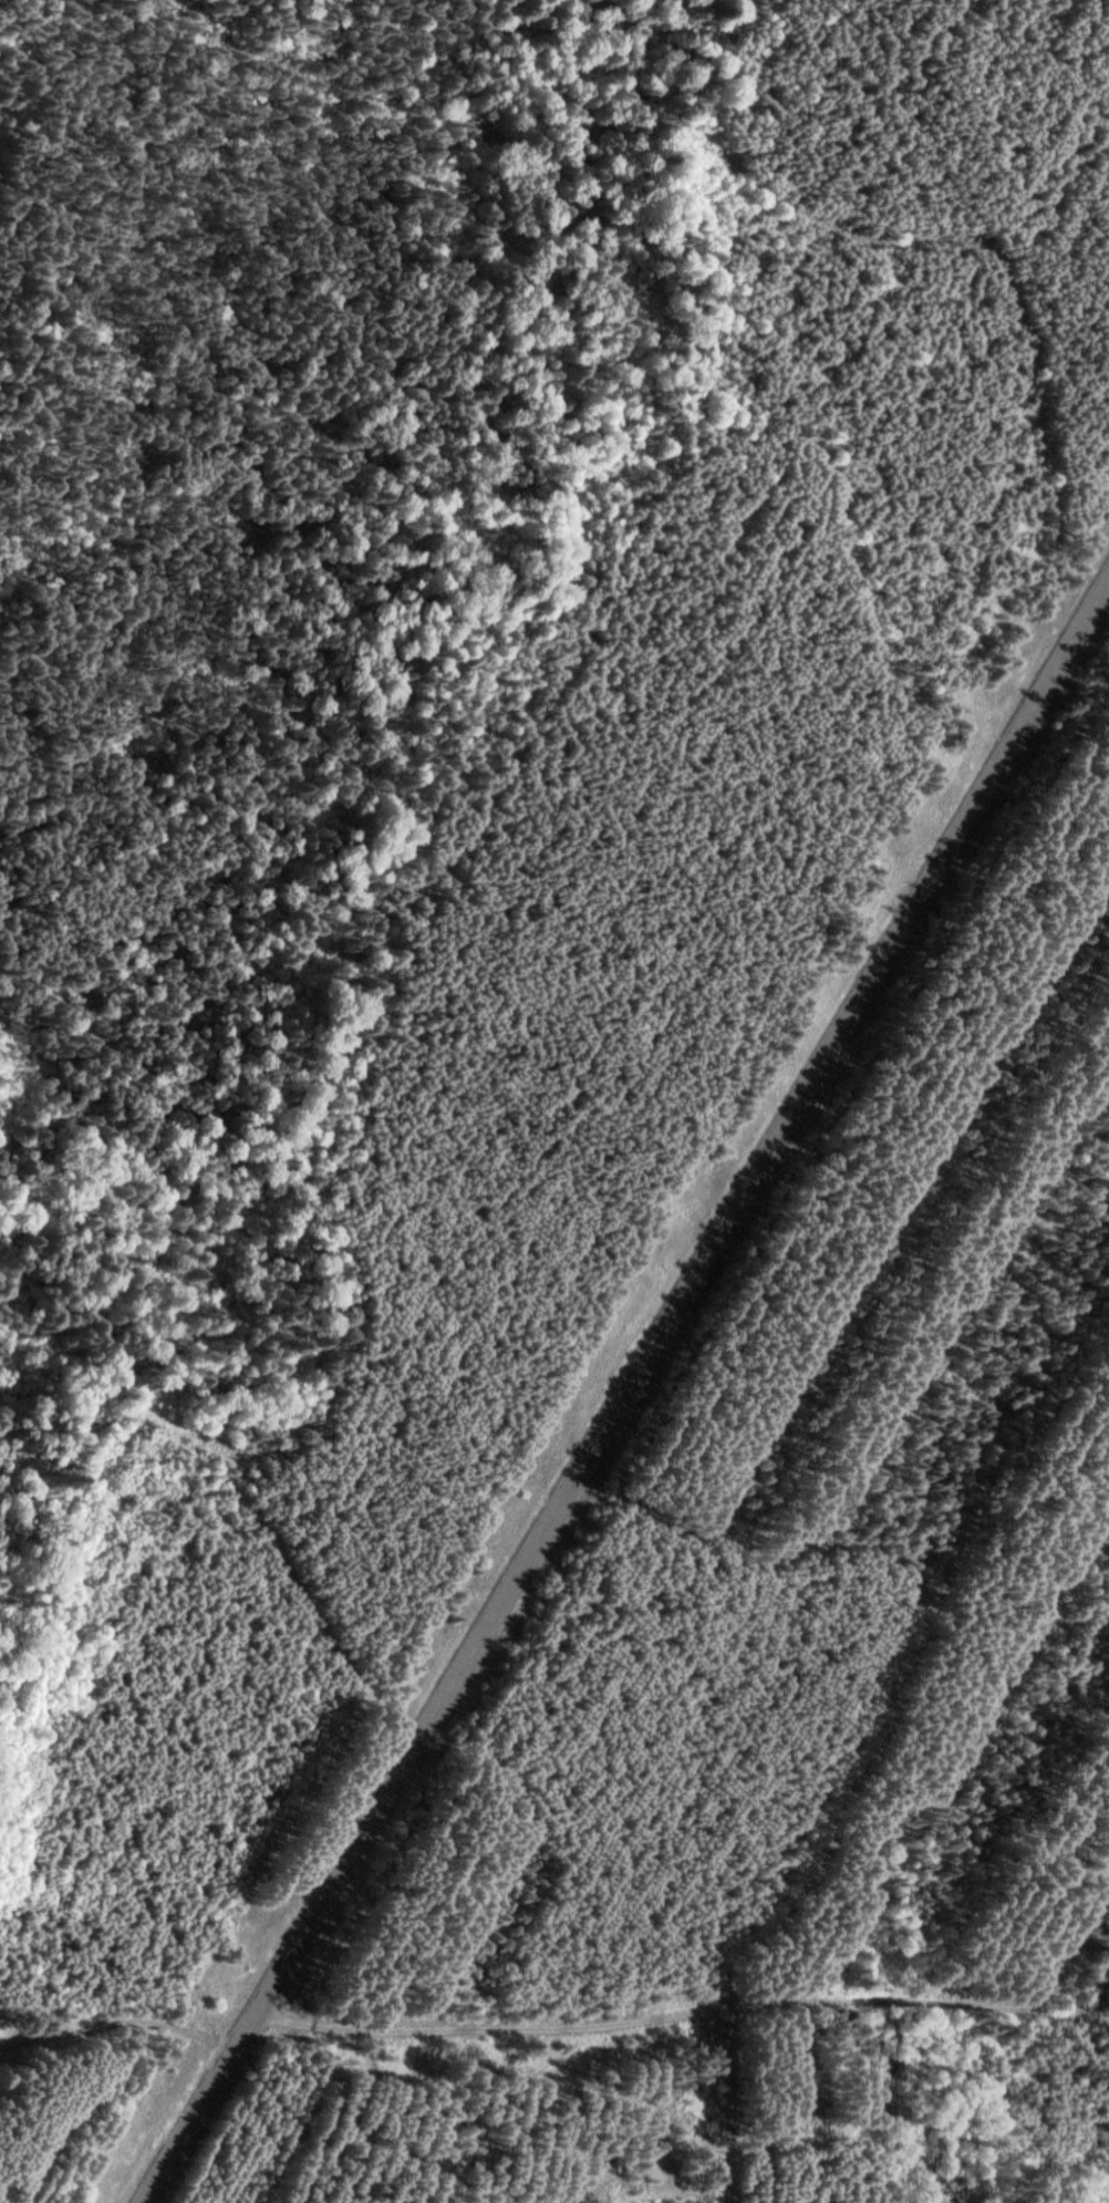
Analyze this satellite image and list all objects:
road: (371, 890)
road: (626, 1394)
road: (683, 2013)

